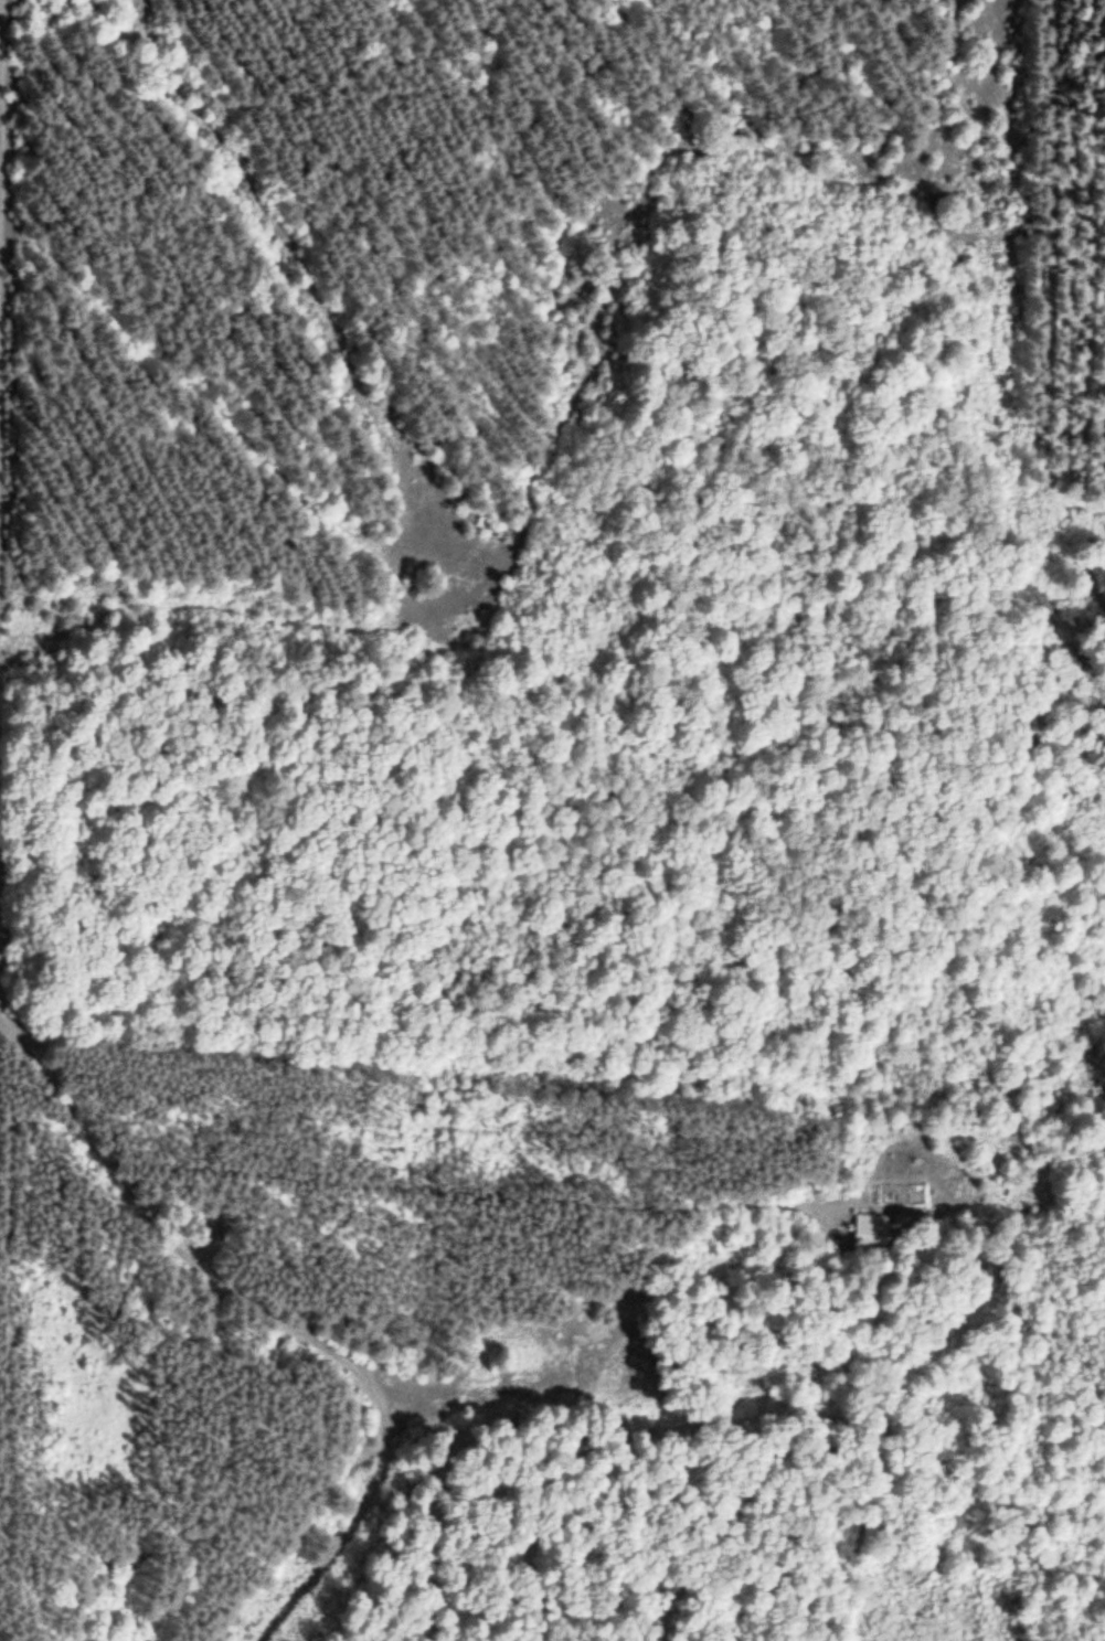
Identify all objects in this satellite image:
road: (3, 156)
road: (666, 818)
building: (871, 1235)
road: (246, 1301)

